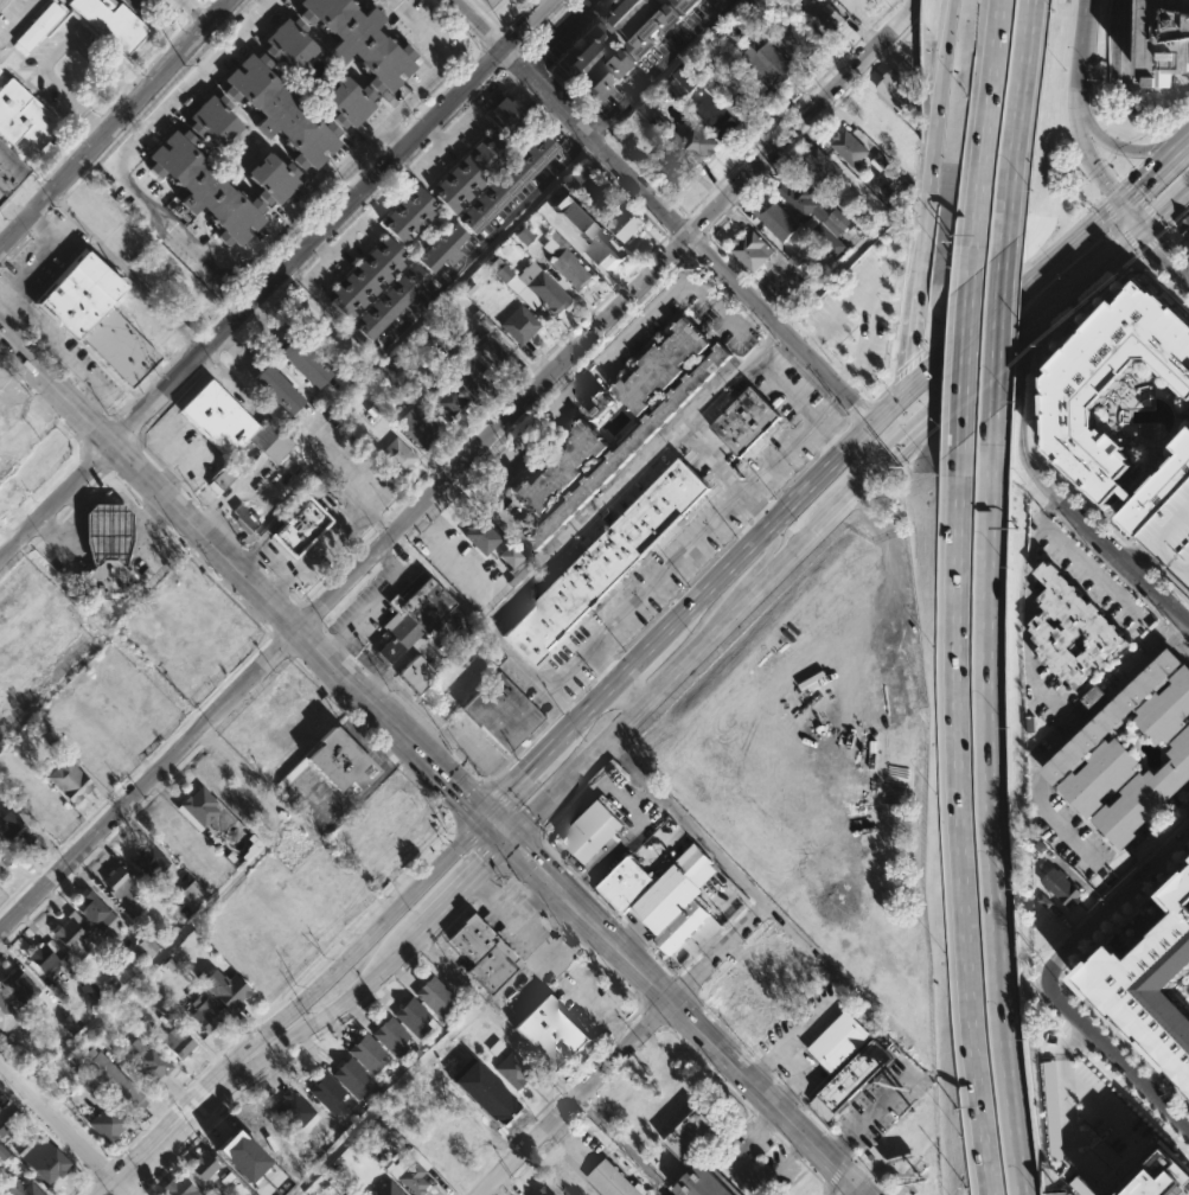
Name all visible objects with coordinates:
park: (4, 4)
road: (205, 4)
building: (685, 4)
road: (908, 5)
road: (194, 12)
road: (194, 13)
road: (19, 19)
building: (826, 19)
building: (641, 20)
building: (113, 23)
road: (541, 24)
building: (39, 25)
road: (503, 26)
road: (556, 34)
building: (794, 36)
building: (1165, 38)
building: (363, 39)
road: (491, 40)
building: (290, 41)
road: (435, 44)
road: (945, 51)
road: (159, 52)
road: (55, 53)
road: (505, 59)
building: (596, 62)
building: (767, 63)
building: (0, 71)
building: (685, 79)
road: (124, 91)
road: (441, 91)
building: (895, 91)
road: (155, 98)
road: (466, 98)
building: (350, 101)
road: (110, 107)
road: (397, 107)
road: (790, 107)
road: (1076, 108)
building: (282, 110)
building: (718, 113)
building: (24, 115)
building: (504, 115)
building: (215, 119)
road: (114, 122)
road: (95, 123)
road: (1016, 123)
road: (1177, 127)
road: (375, 132)
road: (434, 133)
road: (392, 134)
road: (396, 136)
road: (590, 136)
road: (983, 139)
road: (571, 140)
building: (696, 141)
road: (1188, 141)
road: (1118, 145)
building: (848, 146)
road: (580, 149)
road: (1155, 149)
road: (65, 158)
building: (666, 164)
building: (819, 165)
road: (773, 167)
building: (472, 170)
building: (11, 171)
road: (1130, 171)
road: (1155, 173)
building: (274, 177)
building: (510, 183)
building: (207, 187)
road: (1108, 188)
road: (377, 190)
road: (664, 192)
building: (601, 194)
road: (626, 194)
road: (928, 197)
road: (1143, 203)
road: (59, 204)
traffic signals: (1123, 204)
road: (1164, 205)
road: (159, 210)
road: (663, 210)
road: (50, 213)
building: (411, 215)
road: (686, 215)
building: (816, 215)
building: (778, 221)
building: (627, 224)
road: (39, 225)
road: (677, 225)
road: (697, 225)
road: (1119, 226)
building: (1187, 226)
traffic signals: (1140, 228)
road: (1163, 231)
road: (666, 235)
road: (1083, 235)
road: (292, 241)
road: (51, 242)
road: (1150, 242)
road: (1152, 244)
road: (319, 248)
road: (335, 248)
building: (442, 248)
road: (15, 249)
building: (603, 251)
building: (752, 251)
road: (686, 253)
road: (686, 255)
road: (1102, 258)
road: (318, 267)
building: (570, 270)
road: (835, 270)
road: (1015, 275)
road: (271, 277)
building: (367, 277)
road: (1164, 280)
road: (293, 281)
road: (135, 286)
building: (531, 286)
building: (78, 293)
building: (392, 301)
road: (1083, 302)
road: (1046, 307)
road: (258, 313)
road: (8, 317)
road: (788, 317)
road: (753, 318)
road: (616, 319)
road: (984, 319)
road: (9, 320)
building: (519, 325)
road: (242, 326)
road: (799, 327)
building: (332, 330)
road: (996, 331)
road: (910, 334)
road: (811, 339)
road: (619, 341)
building: (490, 343)
road: (187, 344)
road: (225, 344)
building: (119, 347)
road: (66, 353)
road: (1022, 353)
road: (827, 356)
road: (987, 356)
road: (51, 357)
road: (963, 359)
building: (307, 362)
road: (209, 363)
building: (661, 364)
road: (909, 366)
road: (803, 370)
road: (844, 371)
traffic signals: (925, 373)
building: (468, 375)
road: (728, 375)
road: (14, 376)
road: (524, 377)
road: (938, 381)
building: (392, 382)
road: (146, 386)
road: (859, 386)
building: (280, 388)
traffic signals: (952, 389)
road: (880, 392)
road: (92, 398)
road: (899, 398)
building: (446, 403)
road: (43, 405)
road: (165, 405)
building: (1070, 408)
road: (858, 409)
road: (108, 414)
road: (953, 414)
road: (1021, 418)
building: (742, 421)
building: (234, 423)
road: (63, 426)
road: (844, 426)
building: (420, 428)
road: (126, 432)
building: (15, 435)
road: (861, 436)
road: (829, 442)
building: (628, 446)
road: (486, 452)
road: (152, 456)
building: (398, 456)
building: (39, 462)
road: (1042, 462)
road: (101, 464)
building: (558, 468)
road: (453, 471)
road: (761, 472)
road: (171, 475)
road: (793, 477)
building: (224, 478)
road: (96, 479)
road: (344, 480)
road: (123, 487)
road: (453, 487)
road: (875, 488)
building: (9, 496)
road: (191, 496)
road: (78, 498)
road: (1048, 507)
road: (760, 511)
road: (286, 512)
road: (63, 513)
road: (210, 515)
road: (153, 517)
road: (417, 522)
road: (381, 524)
road: (417, 524)
building: (300, 528)
road: (47, 529)
building: (107, 533)
gas station: (107, 533)
road: (408, 533)
building: (1171, 535)
parking garage: (1171, 535)
building: (481, 536)
road: (761, 536)
road: (34, 542)
road: (402, 542)
road: (25, 550)
road: (313, 550)
road: (396, 550)
road: (245, 551)
road: (1139, 556)
road: (12, 557)
road: (386, 557)
road: (762, 558)
road: (1100, 558)
road: (1142, 560)
road: (9, 561)
building: (606, 561)
road: (1123, 562)
road: (459, 564)
road: (337, 565)
road: (242, 576)
road: (216, 581)
building: (107, 582)
road: (281, 586)
road: (647, 586)
road: (1170, 586)
road: (683, 588)
road: (353, 592)
road: (293, 599)
road: (370, 602)
road: (1156, 613)
road: (728, 614)
building: (416, 615)
road: (309, 616)
road: (1165, 622)
road: (739, 625)
building: (192, 628)
building: (1074, 631)
road: (326, 633)
road: (1175, 633)
road: (1176, 633)
road: (1184, 640)
building: (32, 643)
road: (281, 645)
road: (339, 645)
road: (650, 650)
road: (606, 666)
road: (600, 667)
building: (417, 673)
road: (635, 686)
building: (145, 699)
building: (1166, 710)
road: (589, 711)
building: (504, 714)
road: (416, 717)
building: (1113, 717)
road: (542, 730)
road: (1053, 747)
road: (615, 749)
building: (97, 753)
building: (344, 762)
road: (134, 771)
building: (1100, 775)
building: (70, 780)
road: (519, 784)
road: (570, 793)
building: (1146, 795)
road: (146, 803)
road: (991, 804)
building: (49, 806)
building: (200, 806)
road: (959, 818)
traffic signals: (485, 819)
road: (684, 823)
building: (383, 826)
building: (594, 829)
building: (172, 832)
building: (15, 833)
road: (541, 836)
traffic signals: (506, 842)
road: (543, 842)
road: (554, 856)
building: (4, 859)
road: (1140, 859)
building: (151, 862)
road: (569, 873)
road: (512, 878)
building: (627, 884)
road: (583, 887)
building: (1063, 887)
road: (459, 888)
road: (479, 889)
building: (675, 889)
building: (123, 892)
road: (538, 902)
road: (601, 903)
road: (1116, 903)
road: (737, 909)
road: (364, 910)
building: (312, 913)
building: (98, 914)
road: (511, 916)
road: (448, 919)
road: (619, 920)
road: (561, 922)
building: (682, 927)
building: (73, 935)
road: (369, 937)
road: (637, 938)
building: (472, 939)
road: (708, 940)
road: (575, 942)
road: (424, 946)
road: (587, 954)
road: (716, 954)
building: (41, 958)
road: (660, 960)
road: (684, 964)
road: (600, 966)
building: (493, 967)
building: (733, 979)
road: (1063, 980)
road: (683, 985)
building: (1151, 988)
building: (225, 989)
road: (624, 989)
building: (23, 990)
road: (583, 995)
building: (435, 997)
road: (340, 1004)
building: (766, 1004)
road: (671, 1007)
road: (707, 1008)
road: (680, 1010)
building: (205, 1012)
road: (634, 1012)
building: (6, 1016)
road: (494, 1016)
road: (652, 1016)
building: (414, 1018)
road: (620, 1028)
road: (1074, 1030)
road: (728, 1031)
building: (552, 1034)
road: (791, 1035)
building: (391, 1037)
building: (178, 1042)
building: (839, 1042)
road: (746, 1052)
building: (367, 1054)
road: (1116, 1056)
road: (589, 1059)
road: (274, 1063)
building: (152, 1066)
road: (761, 1066)
building: (512, 1069)
road: (709, 1071)
road: (1117, 1074)
building: (352, 1078)
road: (775, 1080)
building: (851, 1080)
building: (113, 1082)
road: (563, 1085)
road: (1066, 1088)
road: (795, 1089)
building: (327, 1093)
road: (788, 1093)
building: (486, 1094)
road: (383, 1098)
road: (573, 1098)
building: (295, 1111)
road: (533, 1116)
road: (817, 1116)
road: (574, 1117)
road: (1165, 1121)
road: (761, 1123)
building: (108, 1124)
road: (181, 1124)
road: (64, 1130)
building: (263, 1131)
road: (557, 1133)
building: (693, 1136)
road: (1183, 1139)
road: (779, 1140)
road: (843, 1140)
road: (621, 1143)
road: (58, 1145)
road: (792, 1154)
building: (44, 1159)
parking lot: (757, 1159)
road: (565, 1161)
building: (204, 1164)
road: (525, 1165)
road: (106, 1169)
road: (837, 1169)
building: (413, 1170)
road: (746, 1171)
road: (811, 1172)
road: (868, 1172)
building: (1164, 1177)
road: (127, 1178)
building: (616, 1181)
building: (702, 1181)
road: (101, 1186)
building: (179, 1187)
building: (21, 1188)
building: (388, 1189)
building: (545, 1190)
road: (824, 1191)
road: (826, 1191)
road: (850, 1191)
road: (136, 1193)
building: (1069, 1194)

